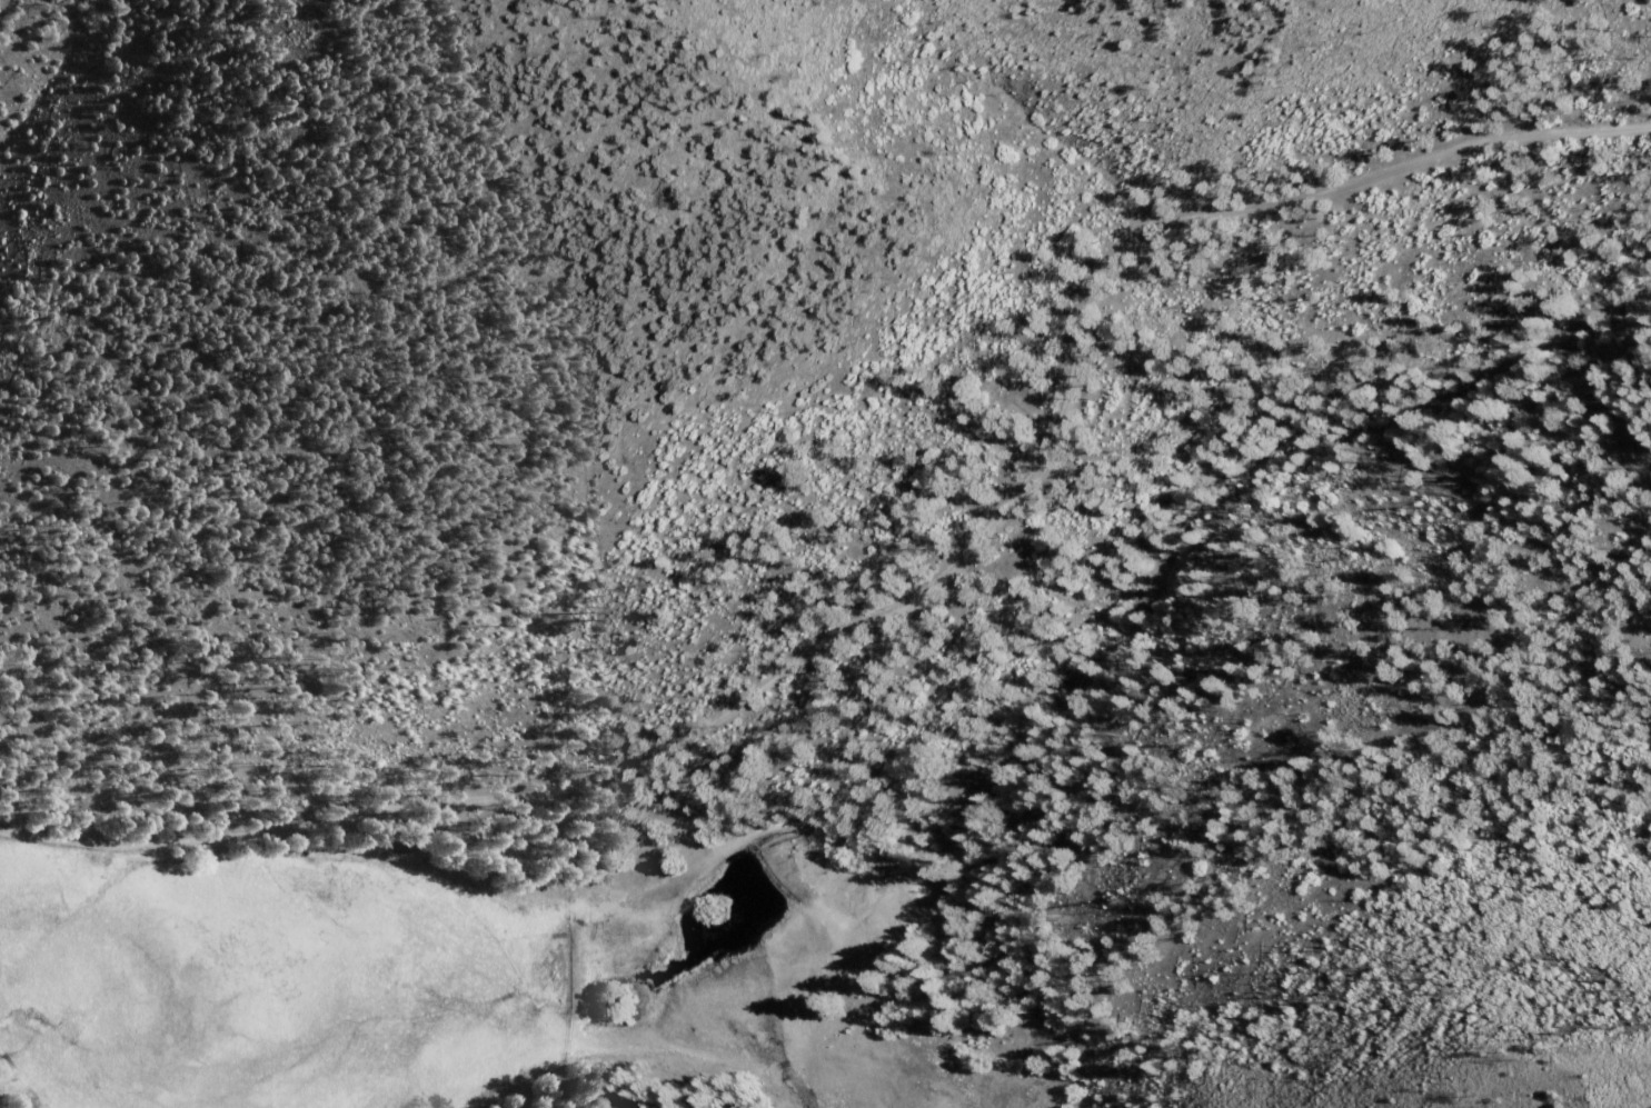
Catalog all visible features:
road: (911, 593)

